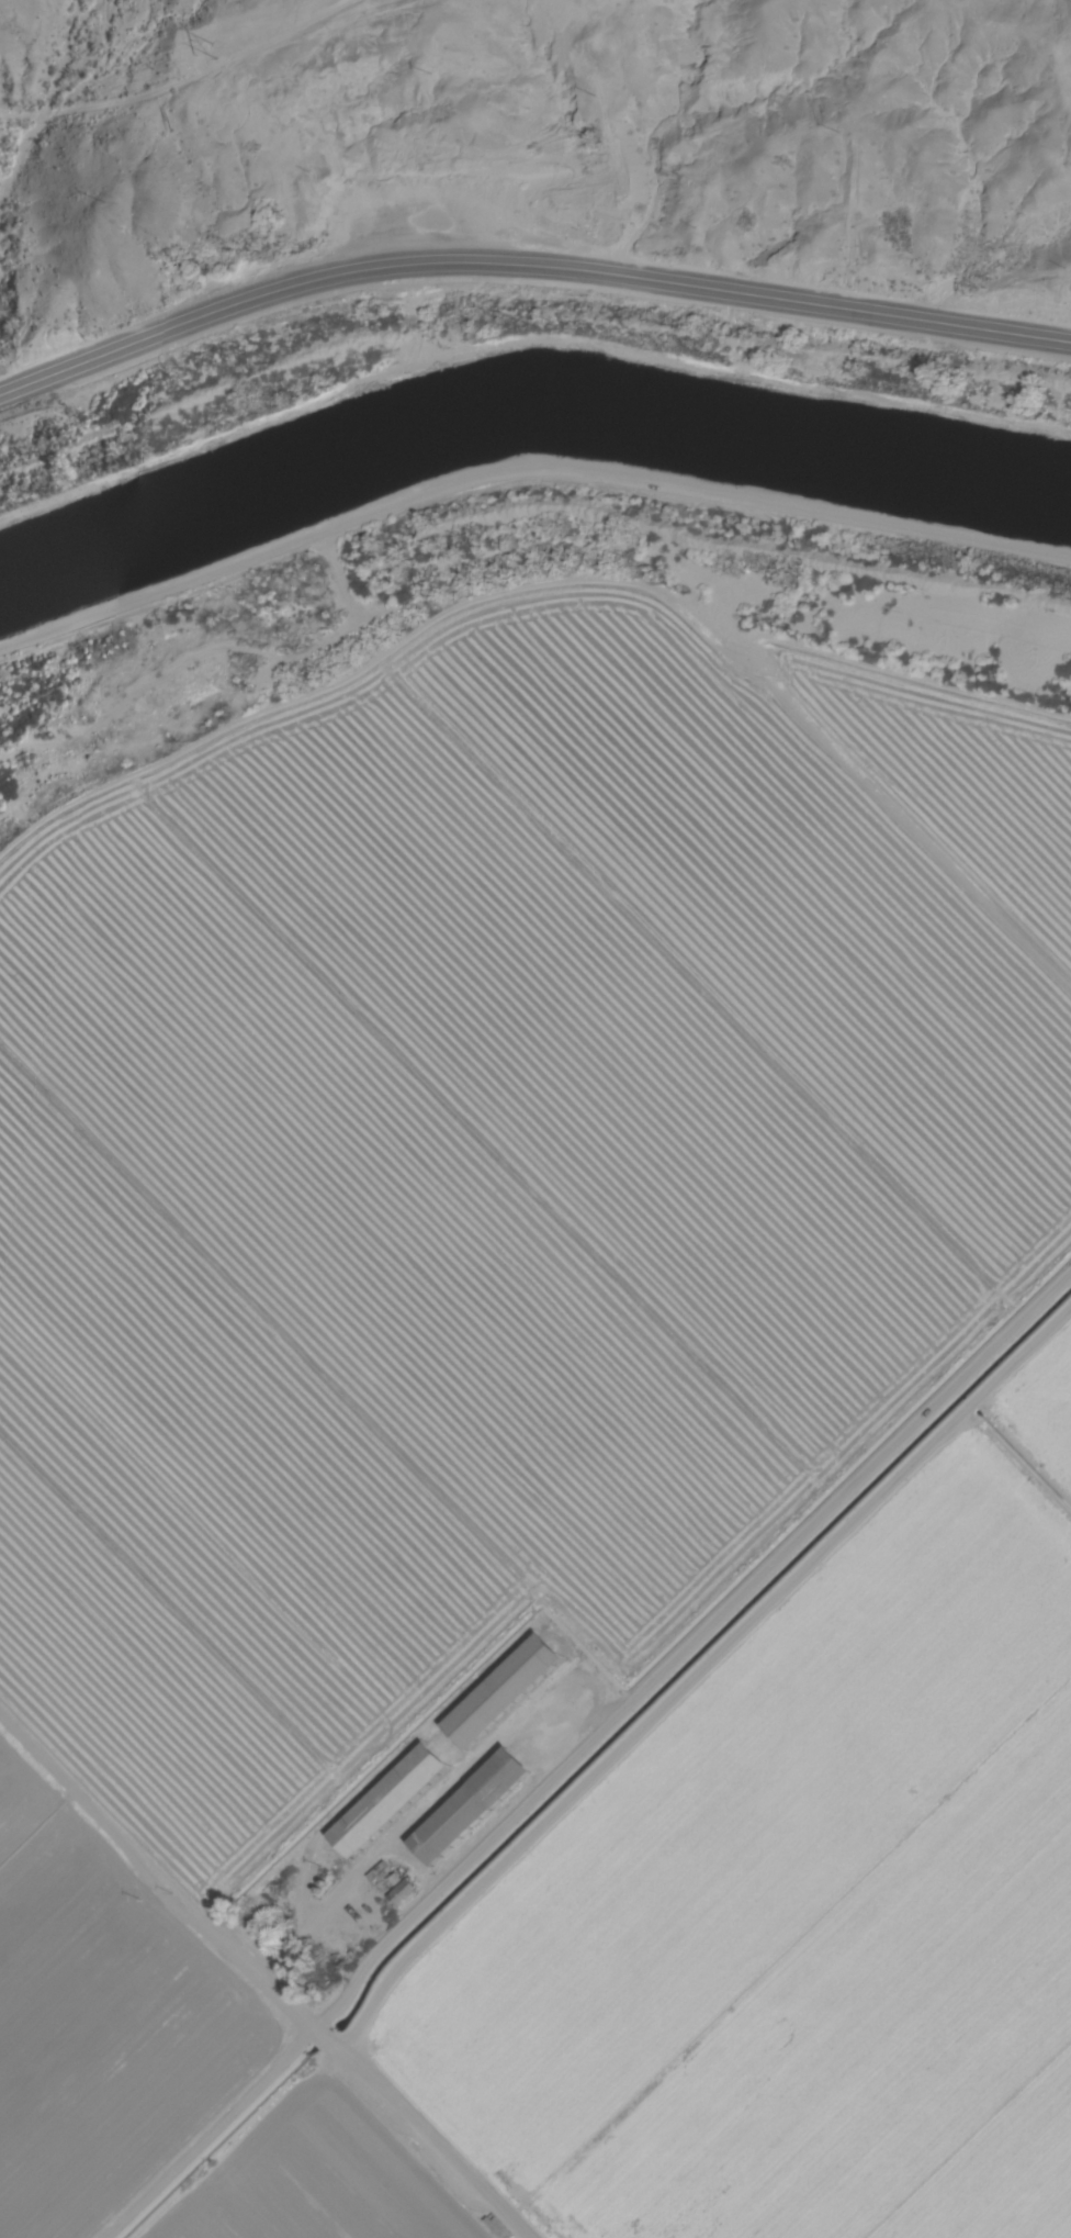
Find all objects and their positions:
power tower: (219, 51)
road: (527, 268)
crop: (470, 1196)
building: (511, 1688)
building: (395, 1795)
building: (476, 1804)

